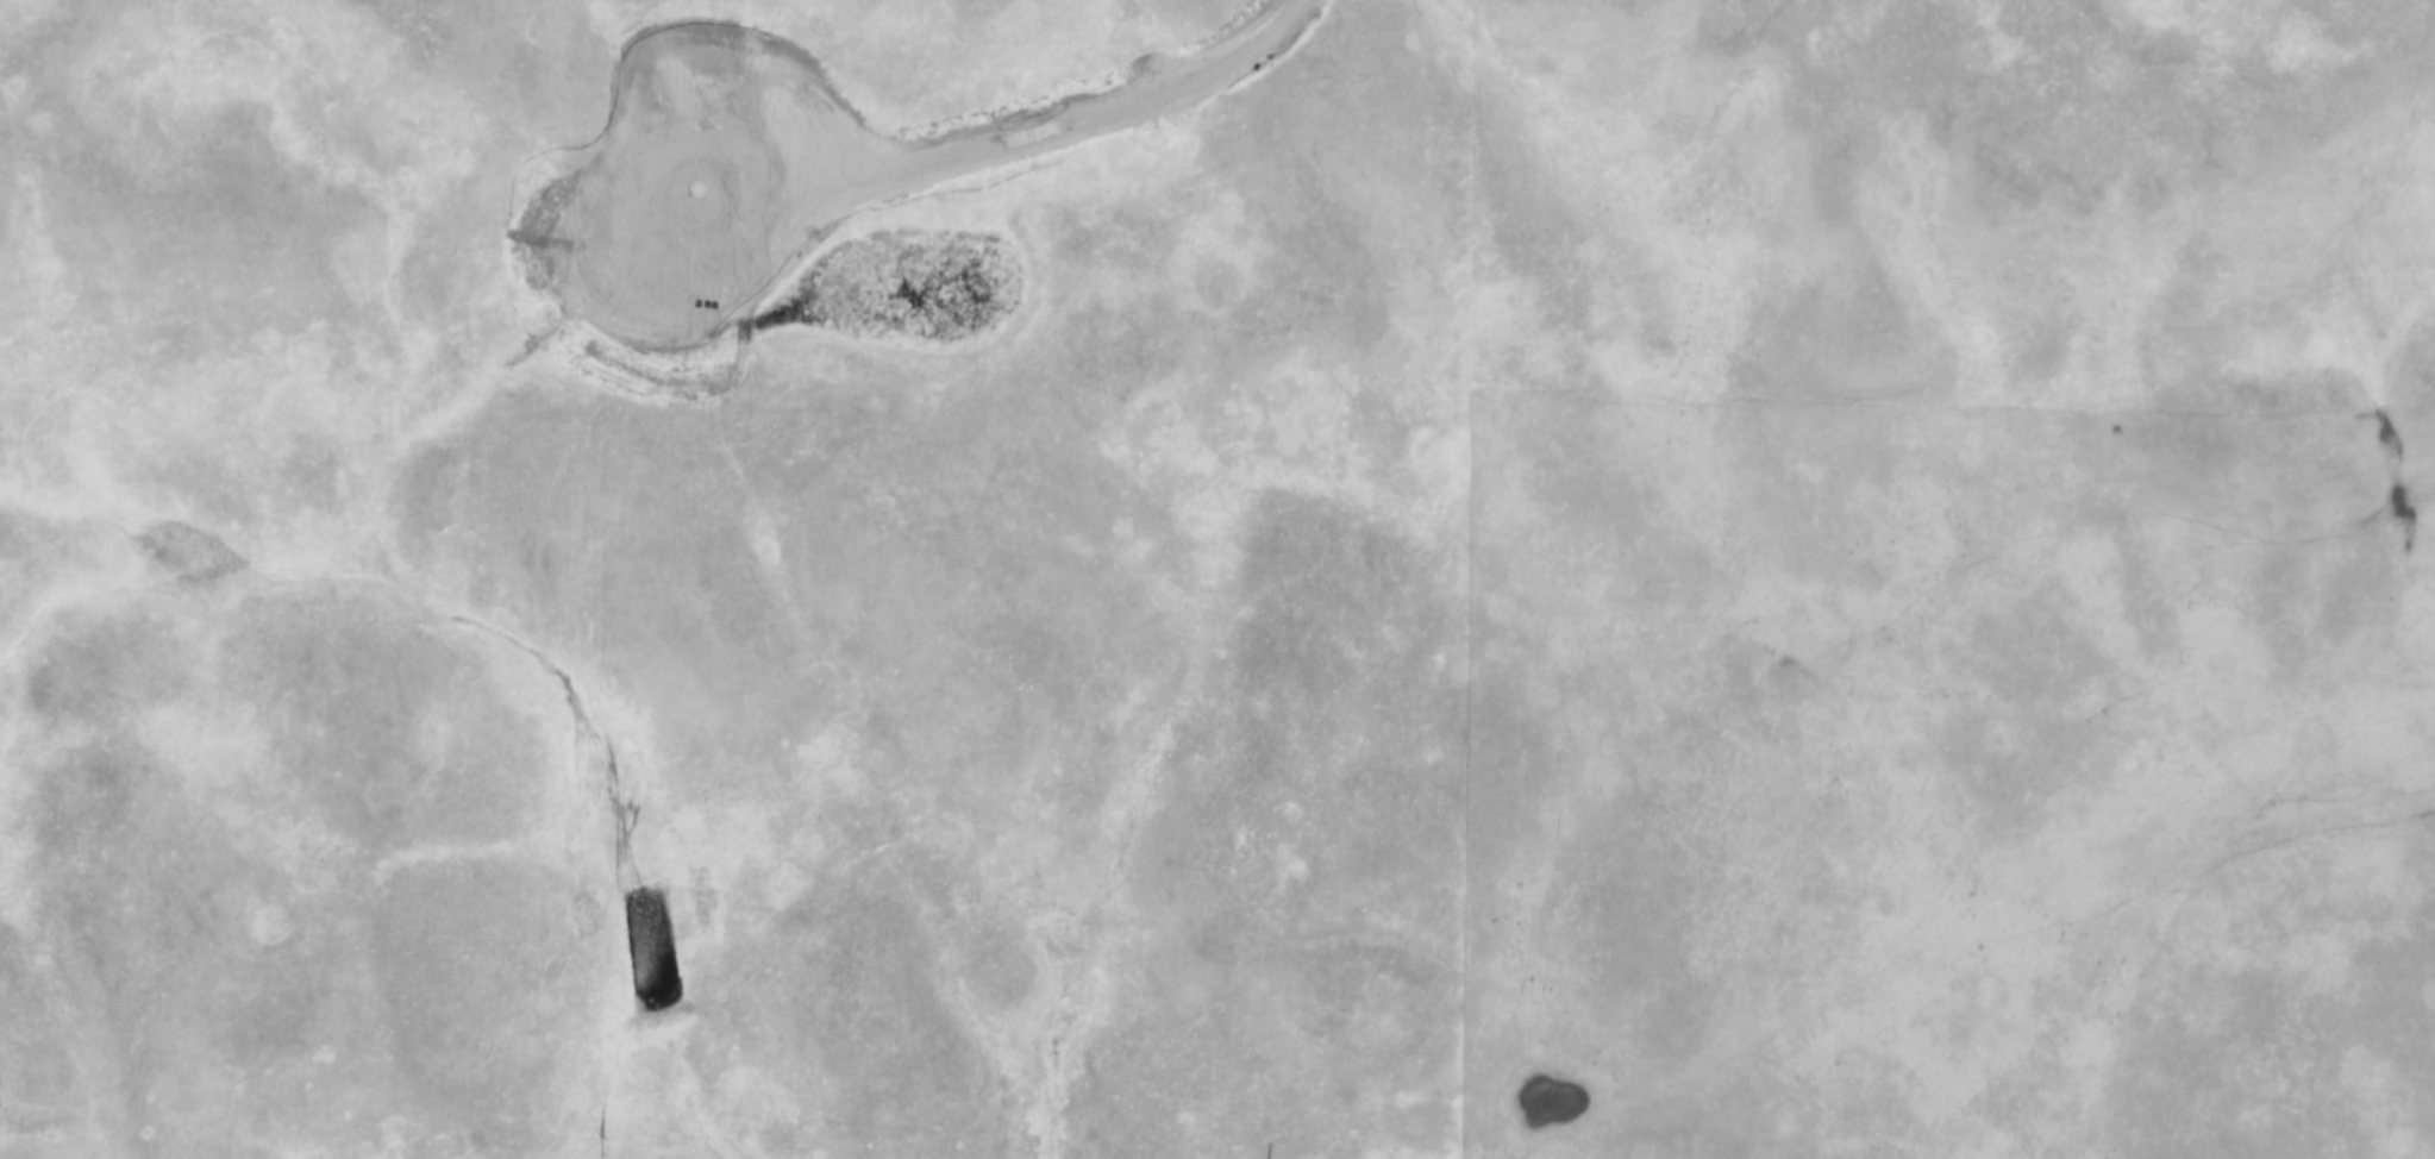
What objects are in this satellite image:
wind turbine: (694, 184)

